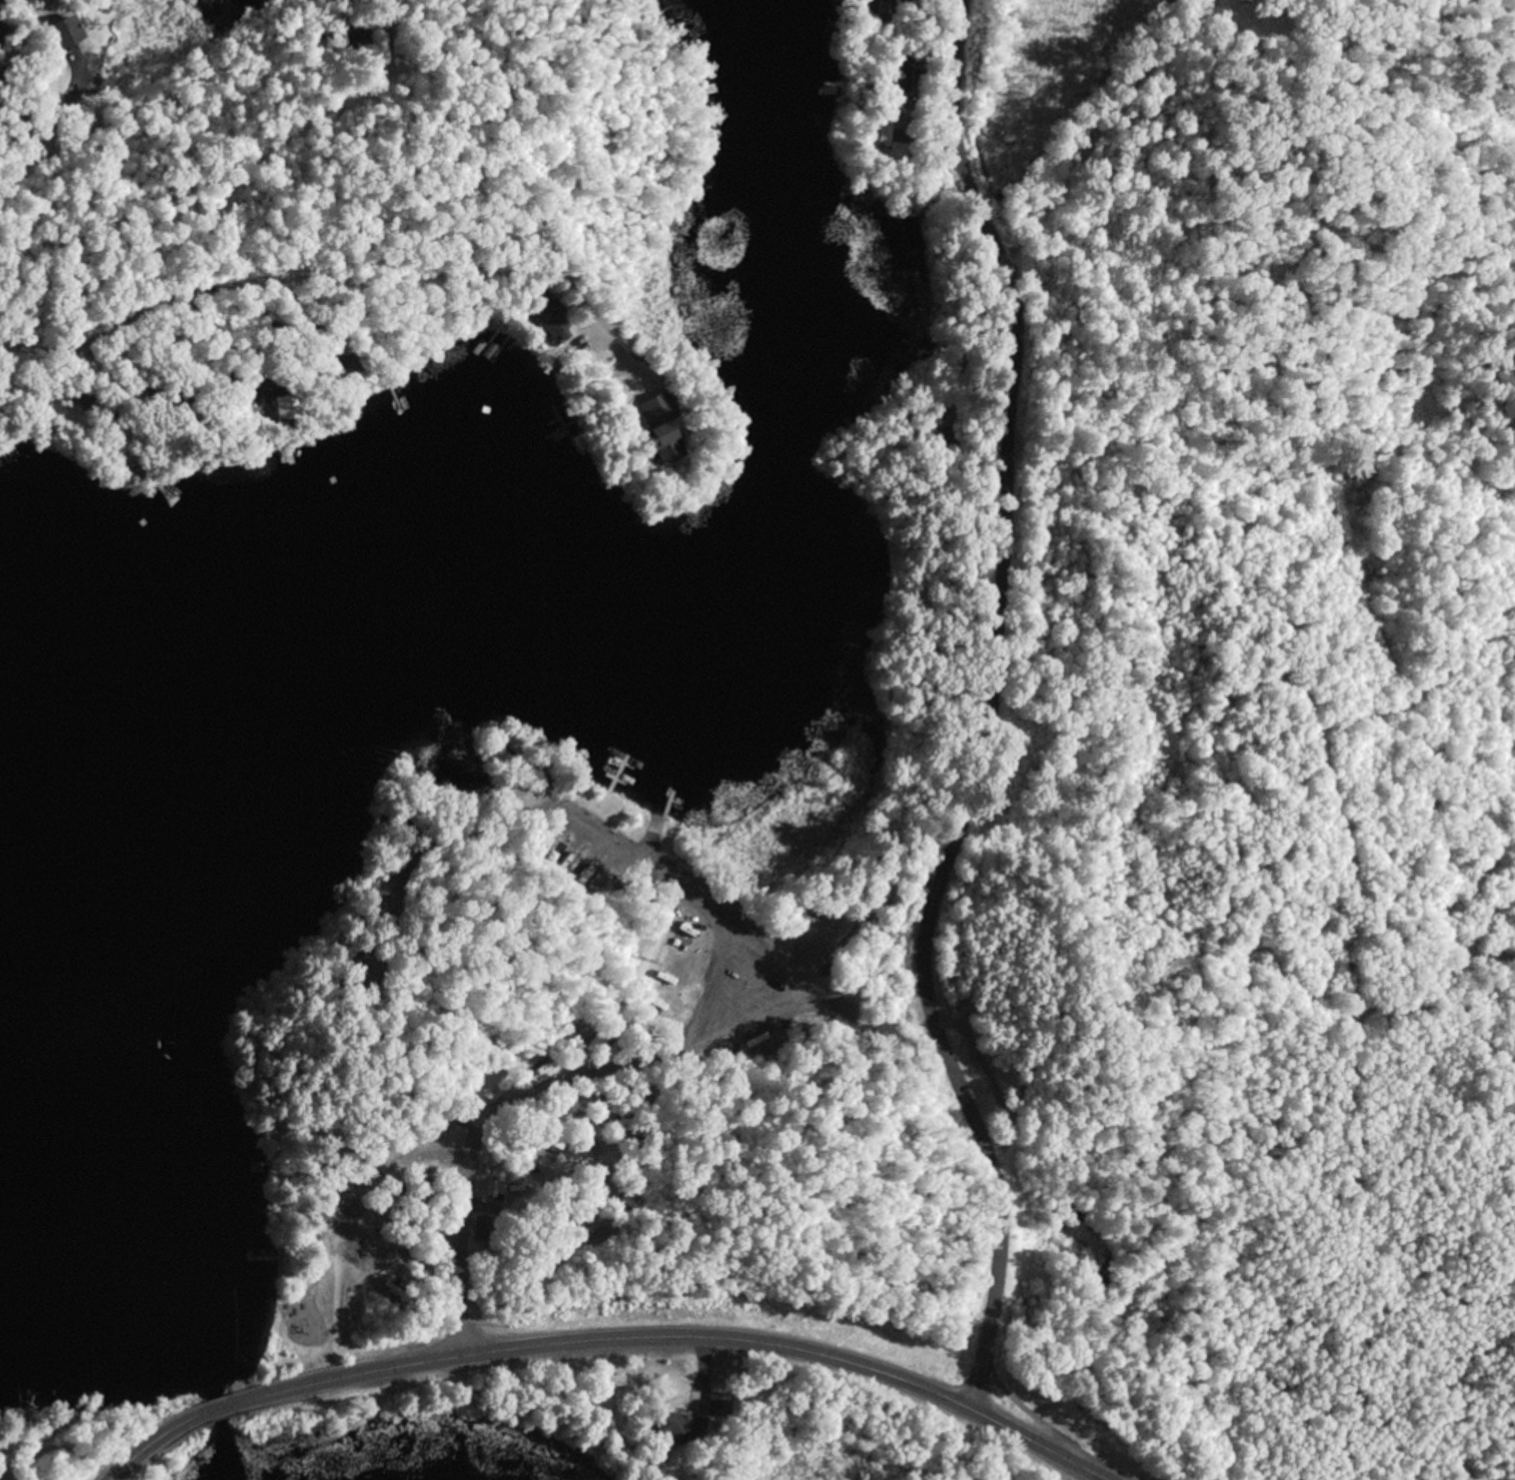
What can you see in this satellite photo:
building: (883, 12)
building: (114, 14)
building: (2, 29)
building: (59, 29)
building: (352, 33)
building: (891, 72)
building: (42, 77)
building: (17, 124)
road: (1113, 125)
road: (322, 263)
building: (544, 314)
building: (341, 351)
road: (11, 373)
building: (175, 392)
building: (286, 404)
building: (148, 411)
building: (652, 433)
building: (947, 435)
road: (999, 715)
road: (606, 1065)
building: (465, 1103)
building: (491, 1187)
building: (484, 1225)
road: (750, 1341)
road: (254, 1395)
building: (719, 1404)
building: (679, 1425)
road: (127, 1460)
building: (13, 1479)

